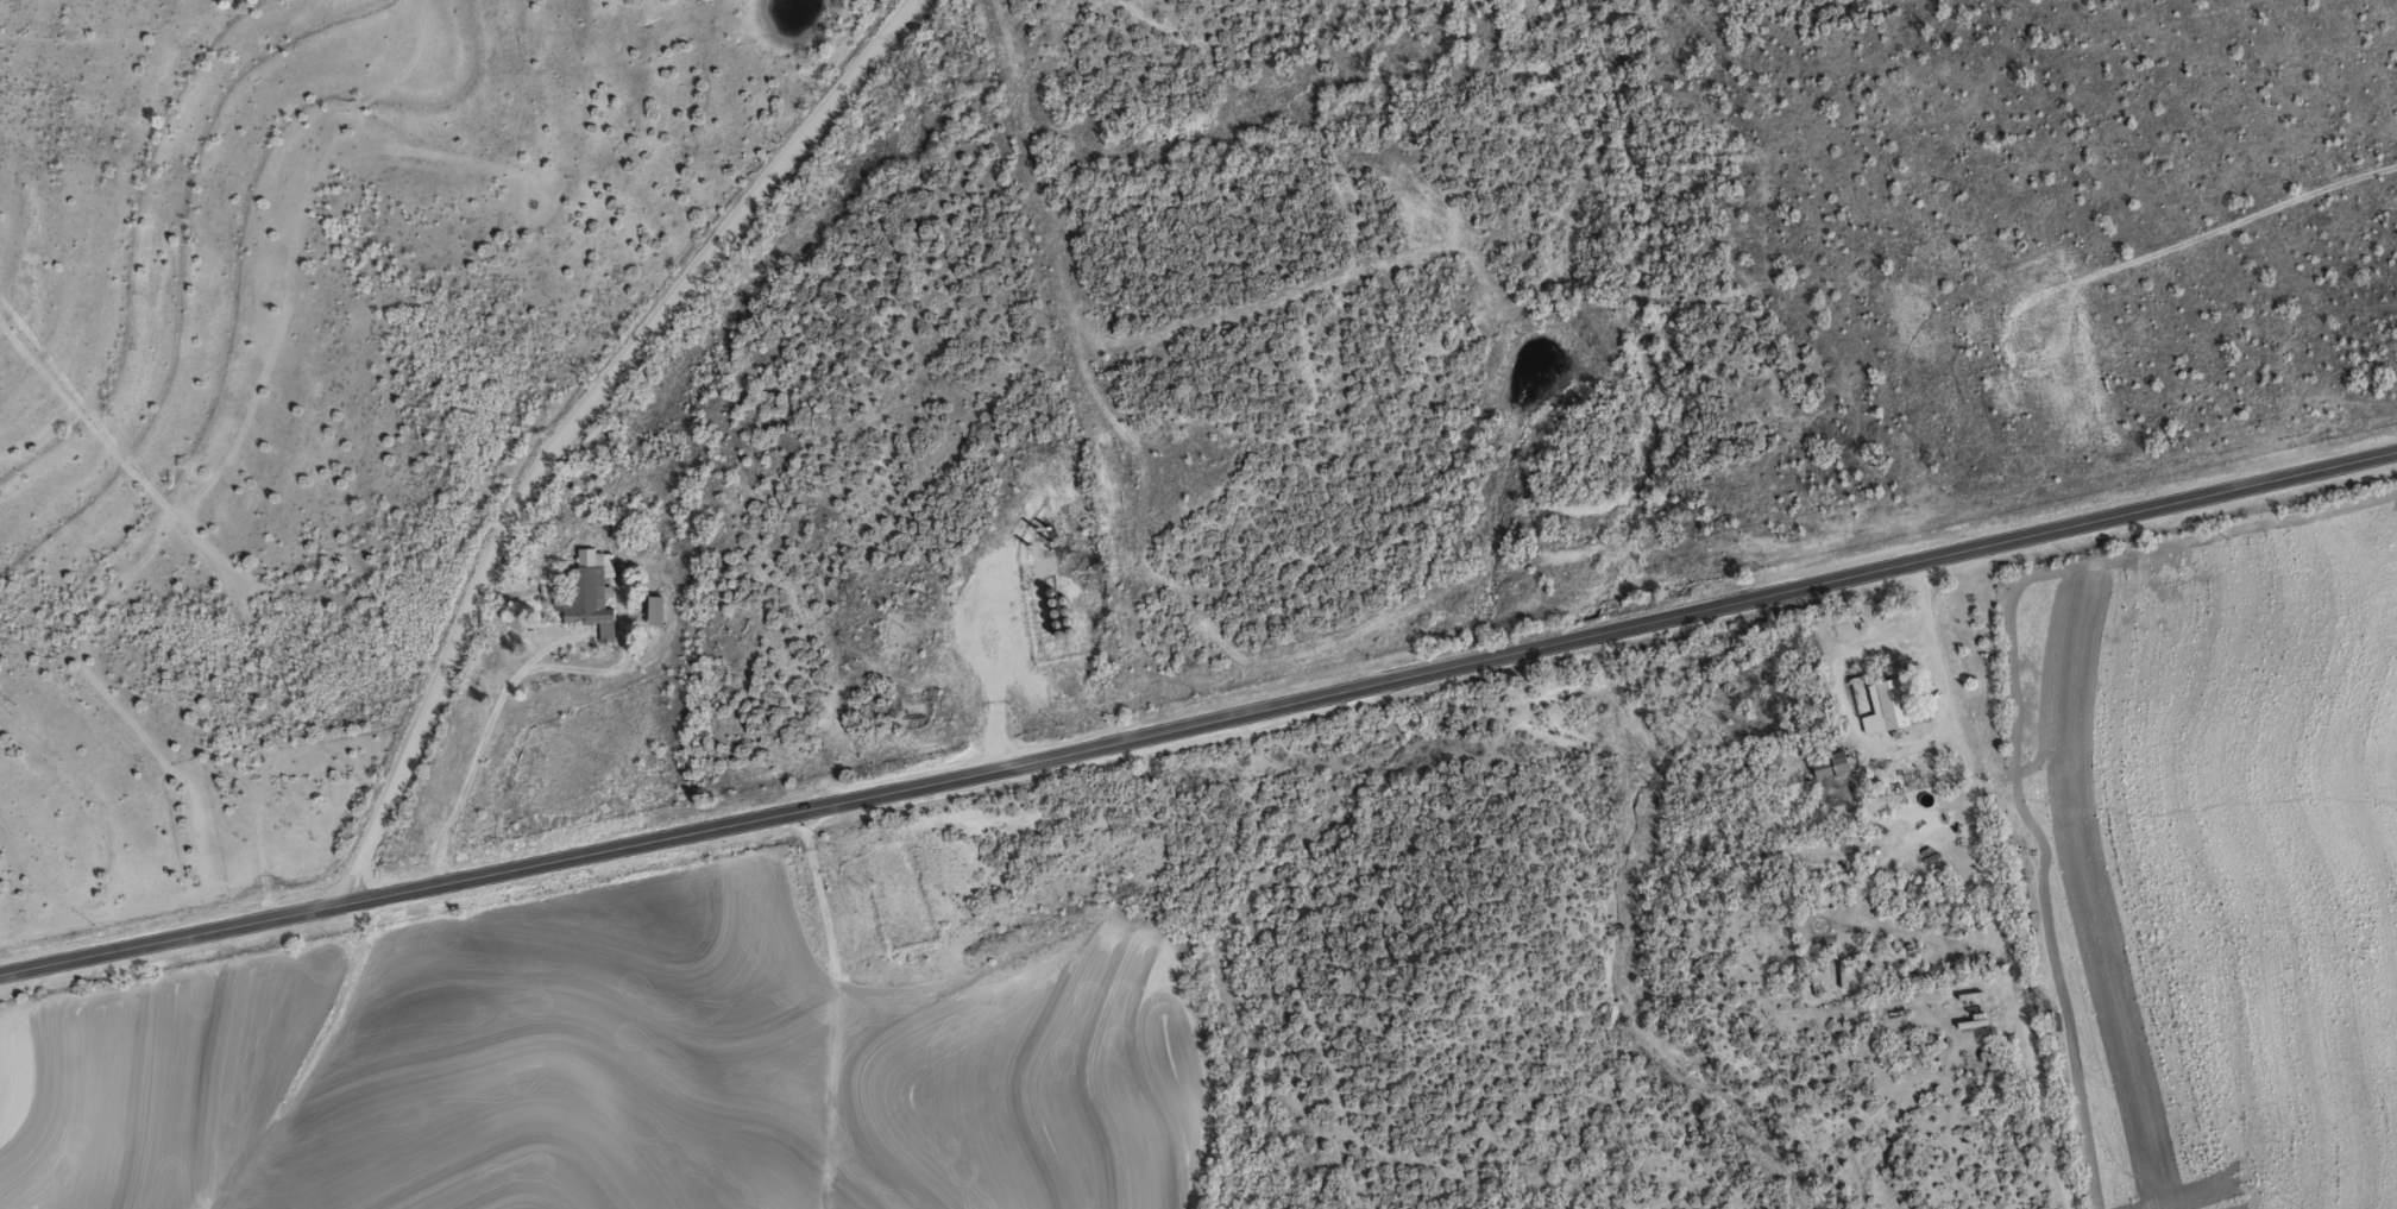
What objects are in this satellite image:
road: (1308, 92)
road: (572, 423)
building: (590, 592)
building: (655, 610)
building: (1888, 705)
road: (1201, 724)
road: (1900, 742)
building: (1832, 764)
building: (1843, 971)

